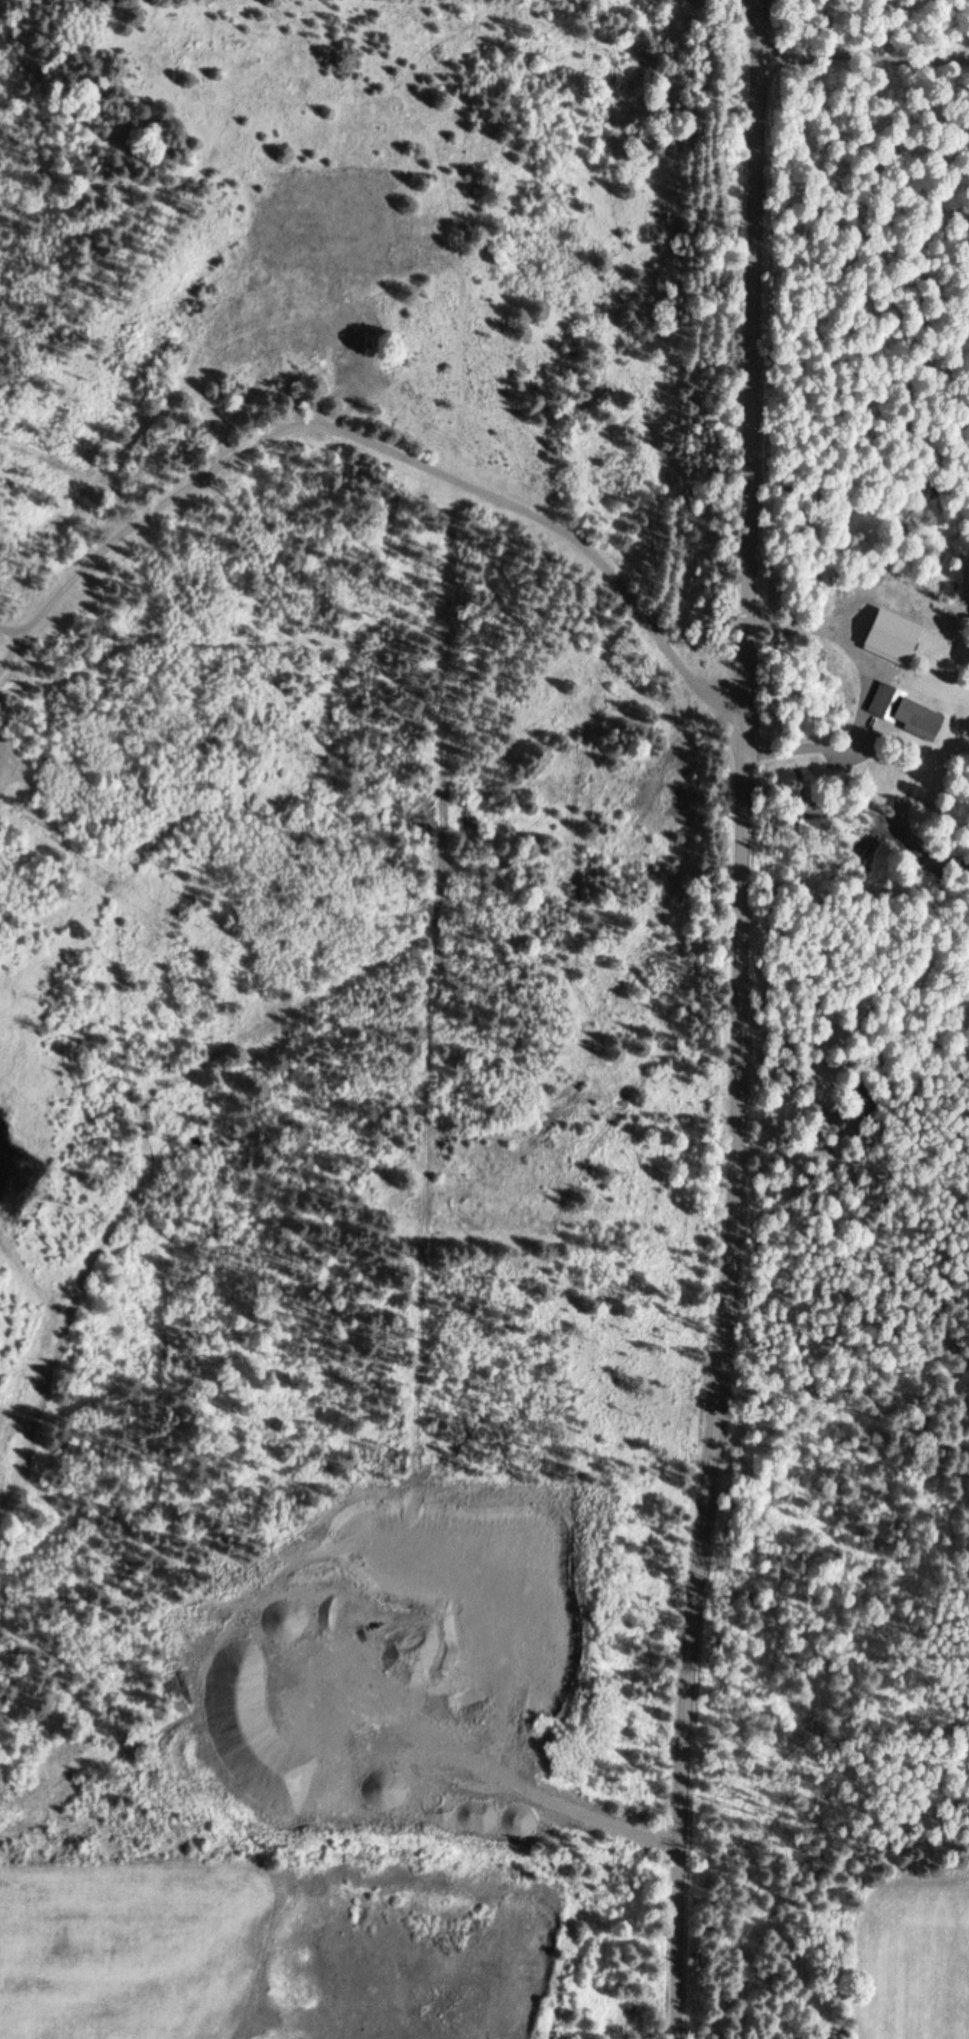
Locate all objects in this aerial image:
road: (379, 445)
building: (903, 715)
road: (739, 1020)
building: (864, 1100)

